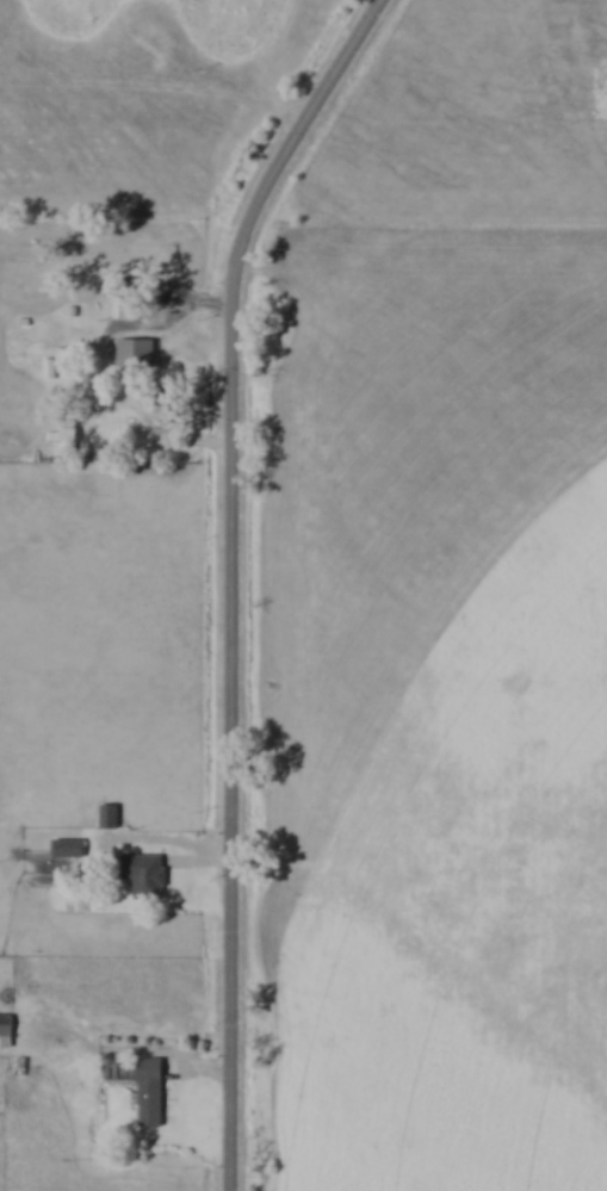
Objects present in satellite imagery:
building: (128, 309)
building: (138, 354)
road: (234, 577)
building: (110, 817)
building: (70, 849)
building: (150, 873)
building: (8, 1023)
building: (151, 1093)

